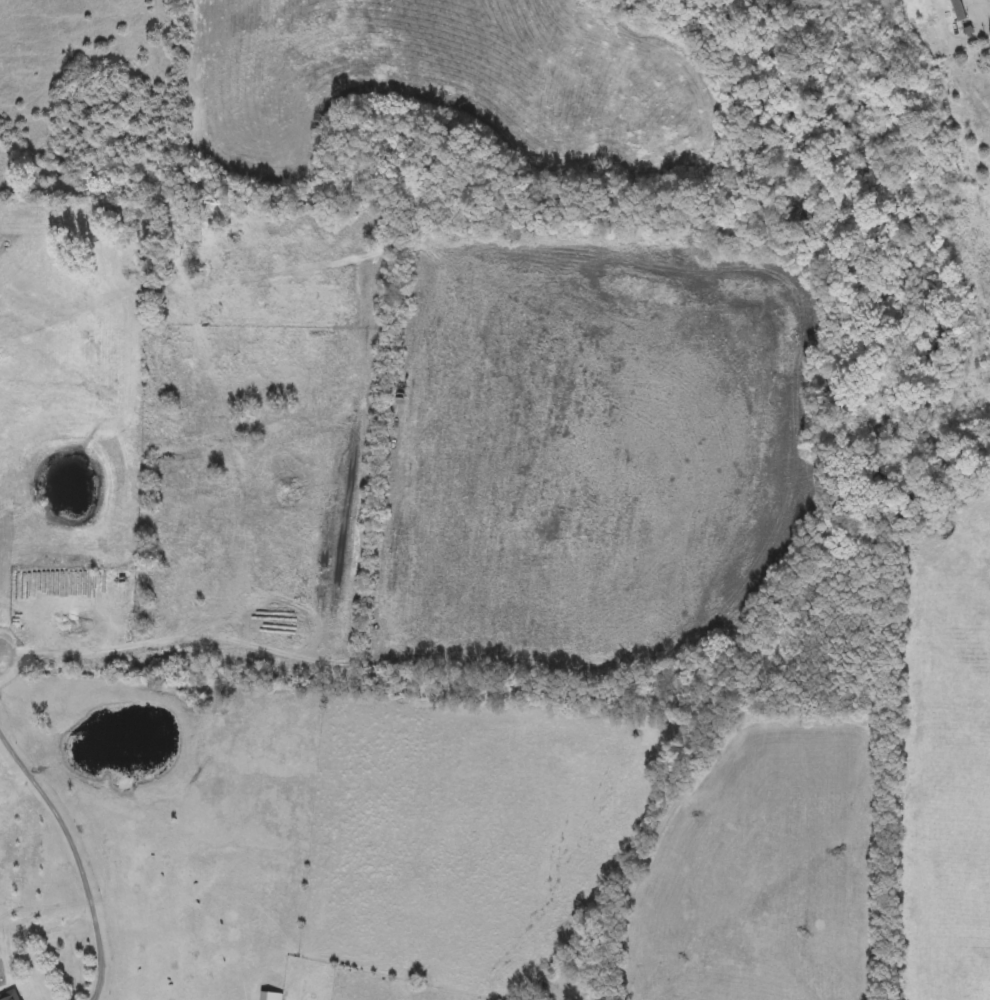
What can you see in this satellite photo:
road: (989, 0)
building: (953, 8)
road: (78, 853)

